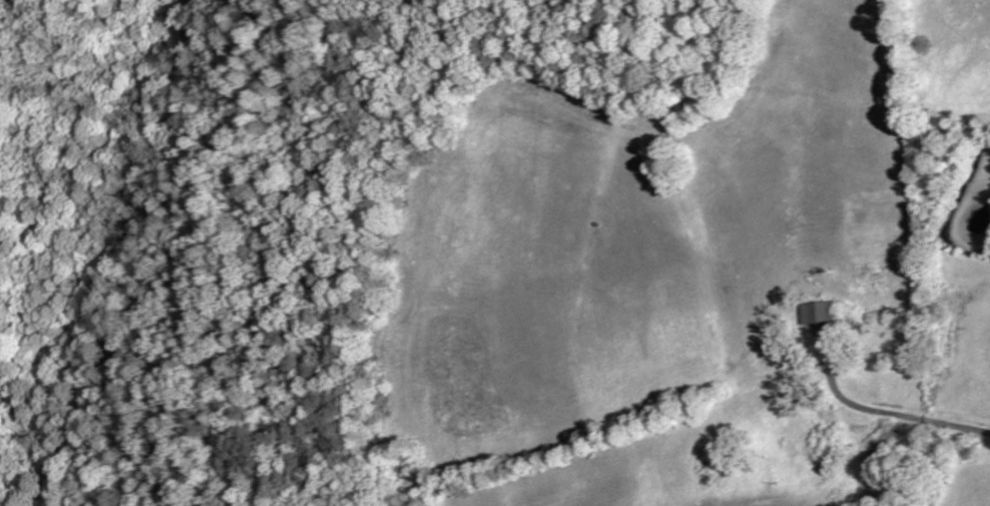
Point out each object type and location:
road: (907, 416)

